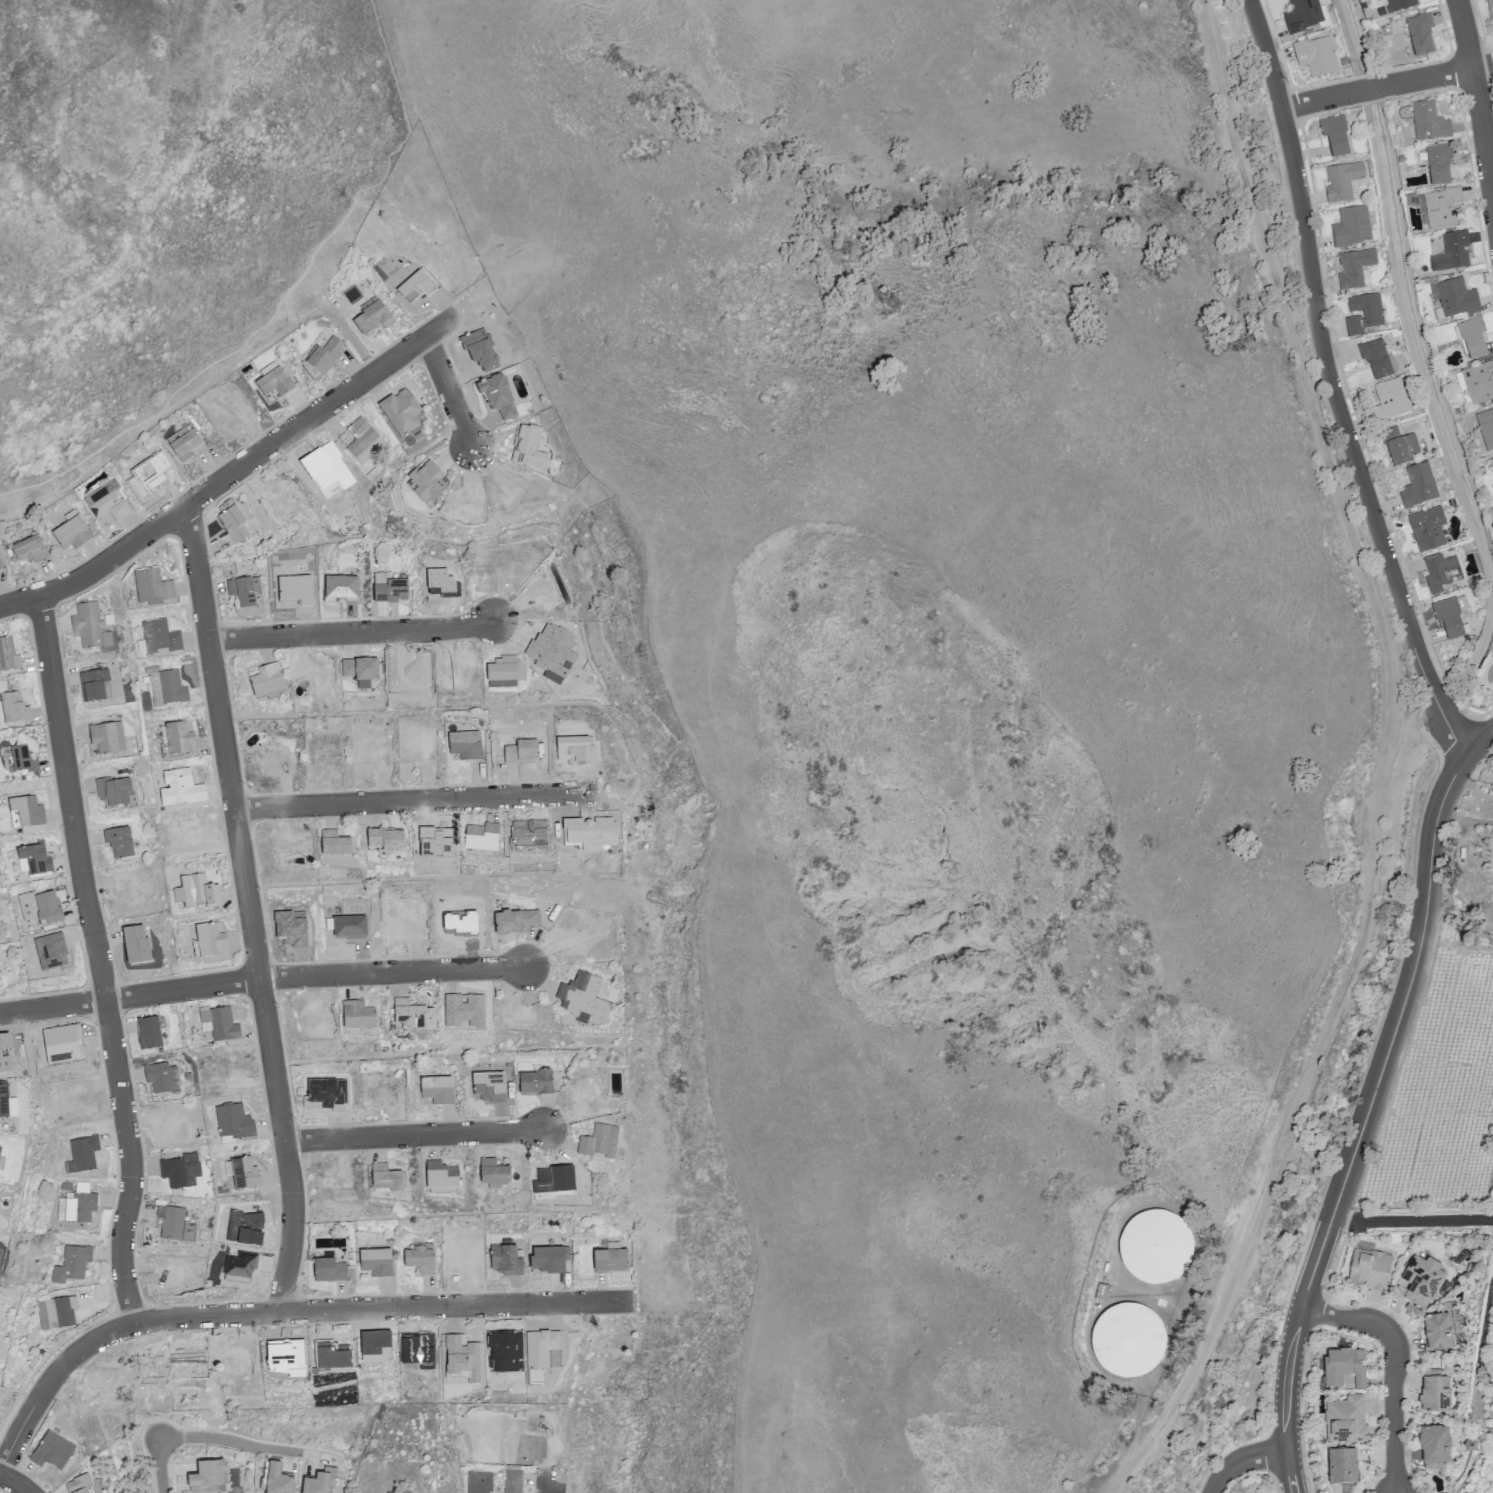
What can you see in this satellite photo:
building: (1400, 6)
building: (1490, 9)
building: (1304, 15)
building: (1419, 36)
building: (1315, 55)
road: (1482, 65)
road: (1424, 77)
road: (1372, 87)
road: (1323, 98)
road: (1477, 99)
building: (1428, 124)
building: (1334, 134)
building: (1438, 166)
building: (1343, 181)
building: (1438, 210)
park: (142, 224)
building: (1350, 226)
building: (1451, 255)
building: (1354, 267)
building: (416, 287)
building: (354, 290)
road: (283, 298)
building: (1455, 300)
building: (1363, 312)
building: (371, 316)
building: (1472, 341)
building: (322, 357)
building: (1377, 358)
building: (1479, 383)
building: (273, 384)
road: (1330, 387)
road: (194, 392)
road: (449, 392)
building: (1391, 397)
building: (400, 410)
building: (1485, 430)
building: (360, 439)
building: (185, 443)
building: (1398, 445)
building: (1491, 465)
road: (233, 472)
building: (427, 482)
building: (1419, 487)
building: (106, 502)
building: (233, 523)
building: (1427, 529)
building: (71, 531)
building: (28, 549)
building: (0, 566)
building: (1437, 572)
building: (151, 586)
building: (389, 587)
building: (245, 596)
building: (1451, 620)
building: (90, 626)
road: (352, 633)
building: (159, 636)
building: (8, 654)
building: (504, 672)
building: (266, 682)
building: (94, 685)
building: (163, 685)
building: (12, 708)
building: (107, 736)
building: (176, 739)
building: (464, 744)
road: (1481, 744)
building: (520, 751)
building: (22, 759)
road: (1388, 762)
building: (112, 791)
road: (414, 801)
building: (24, 812)
building: (385, 839)
building: (118, 841)
building: (334, 843)
building: (34, 859)
building: (196, 892)
building: (47, 907)
road: (249, 909)
building: (210, 938)
road: (99, 960)
road: (261, 977)
road: (1408, 989)
building: (356, 1014)
building: (412, 1014)
building: (217, 1022)
building: (148, 1033)
building: (160, 1077)
building: (535, 1081)
building: (436, 1089)
building: (6, 1102)
road: (416, 1137)
building: (598, 1140)
building: (81, 1154)
building: (1, 1162)
building: (180, 1171)
building: (492, 1171)
building: (440, 1174)
building: (384, 1178)
building: (76, 1204)
road: (1410, 1221)
building: (174, 1223)
building: (1154, 1246)
building: (419, 1257)
building: (610, 1259)
building: (375, 1261)
building: (71, 1264)
road: (1313, 1265)
building: (1368, 1267)
building: (328, 1269)
building: (1420, 1280)
building: (55, 1312)
road: (278, 1312)
building: (1437, 1331)
building: (1126, 1339)
road: (1398, 1363)
building: (1343, 1366)
building: (1434, 1393)
road: (1285, 1400)
building: (1345, 1419)
road: (229, 1441)
building: (1434, 1445)
building: (51, 1450)
road: (1245, 1461)
building: (1341, 1465)
road: (157, 1466)
building: (207, 1475)
building: (276, 1480)
building: (478, 1481)
building: (512, 1481)
road: (548, 1481)
road: (13, 1483)
building: (77, 1484)

